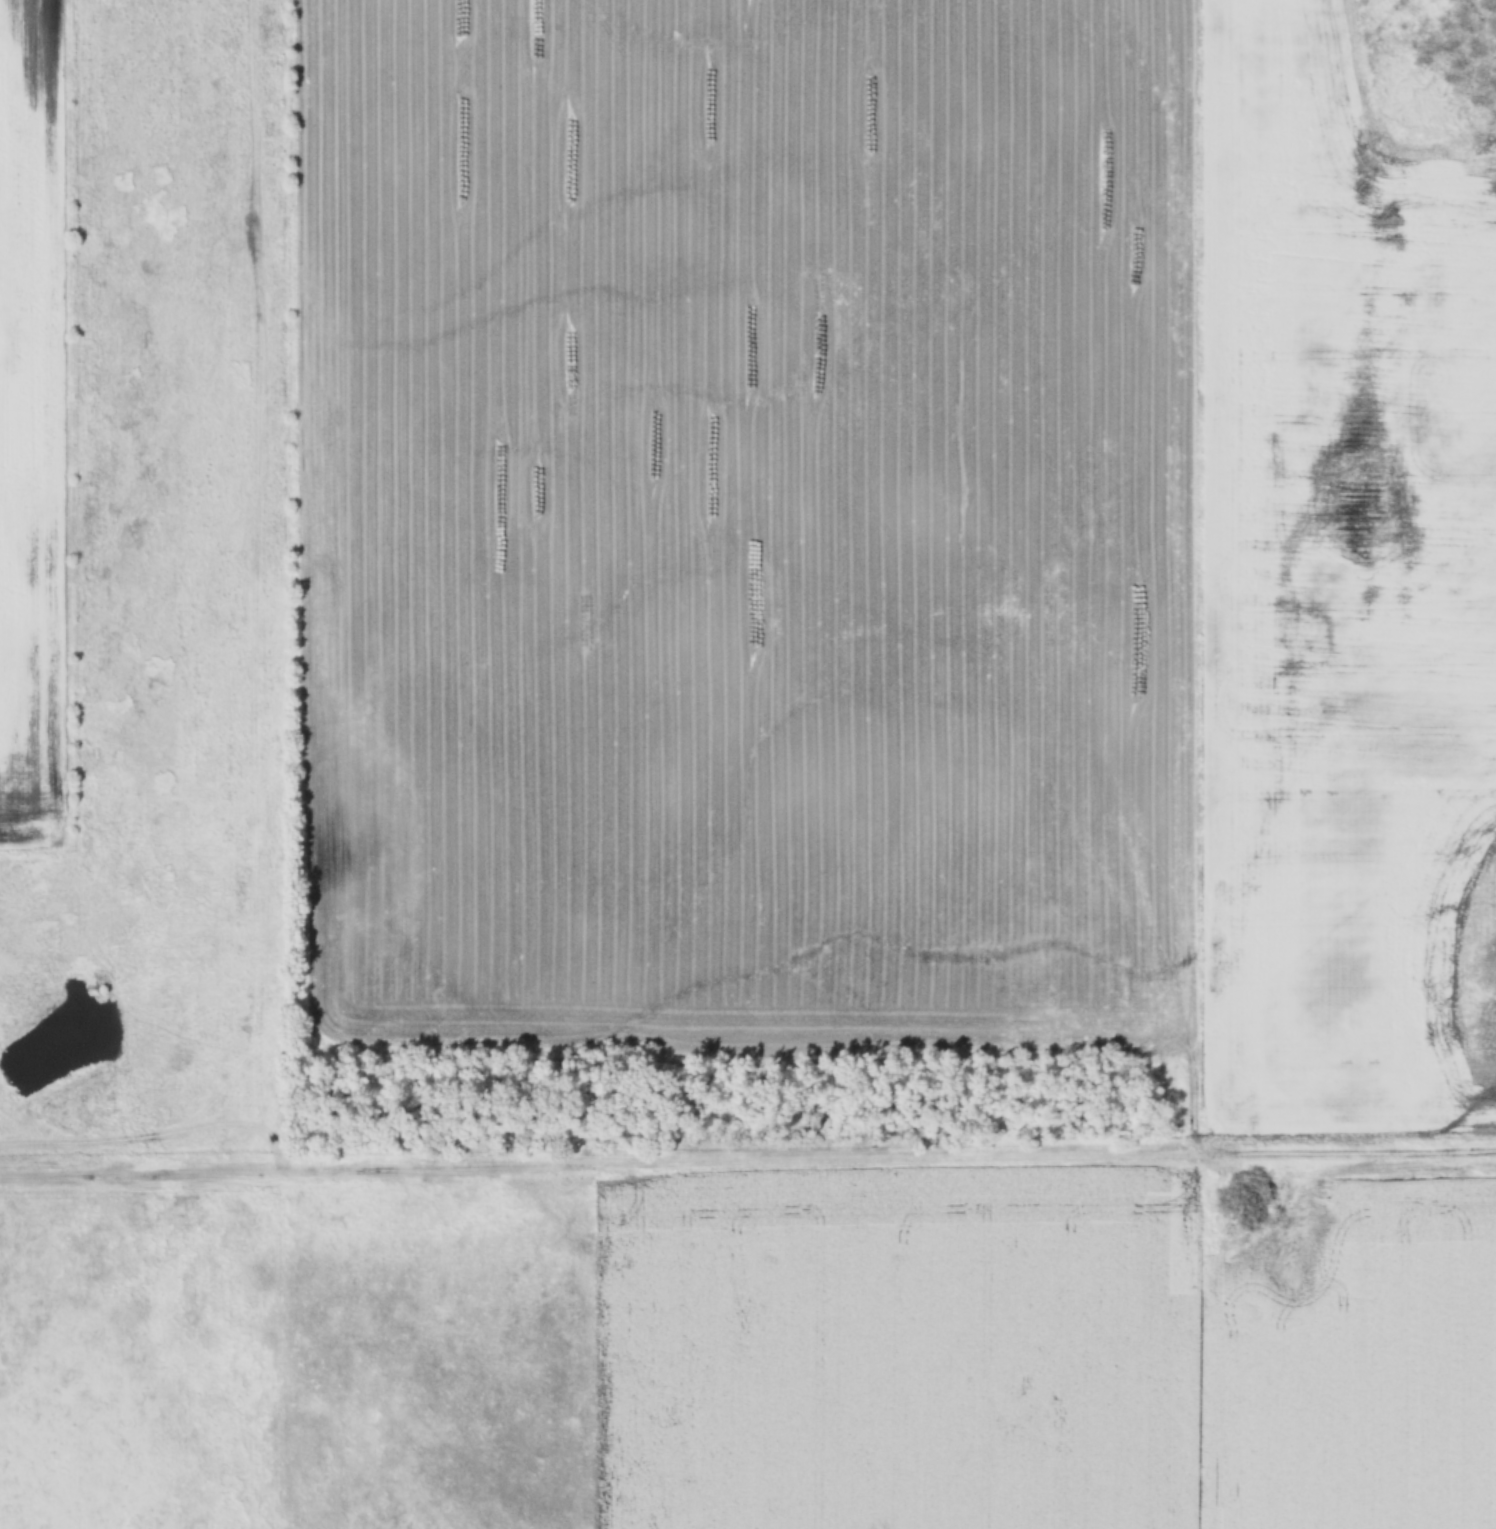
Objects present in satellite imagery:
road: (747, 1160)

